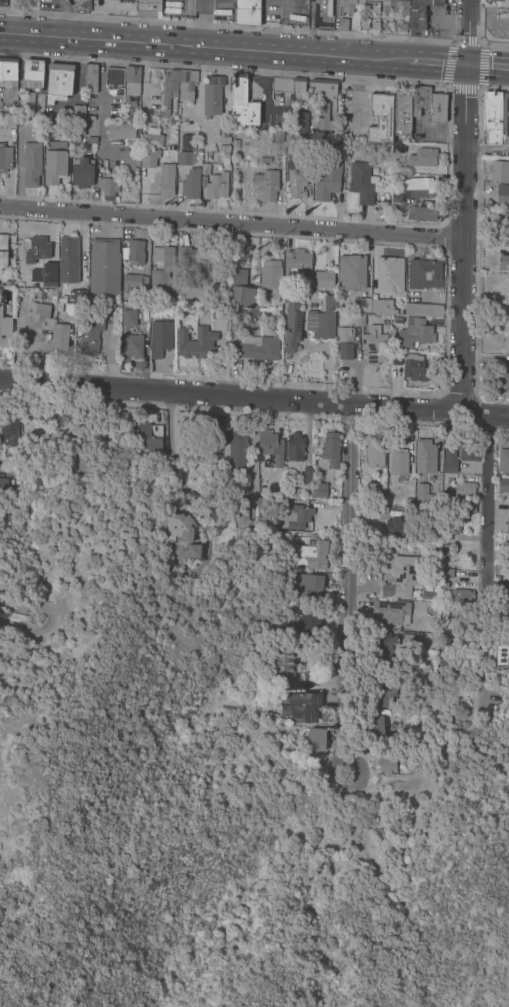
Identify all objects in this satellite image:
building: (497, 0)
building: (384, 3)
building: (148, 5)
building: (345, 6)
building: (247, 13)
building: (419, 13)
road: (446, 17)
road: (476, 20)
road: (495, 21)
parking lot: (439, 22)
parking lot: (495, 22)
building: (343, 25)
road: (468, 40)
road: (200, 45)
road: (78, 52)
road: (432, 62)
road: (447, 63)
traffic signals: (465, 64)
road: (486, 66)
road: (482, 68)
building: (8, 70)
building: (32, 74)
road: (359, 74)
building: (90, 78)
building: (114, 80)
building: (58, 82)
building: (186, 85)
building: (281, 85)
building: (298, 85)
building: (131, 86)
building: (169, 86)
building: (322, 88)
road: (461, 89)
road: (264, 90)
road: (74, 93)
building: (212, 96)
building: (28, 102)
road: (100, 102)
building: (242, 103)
parking lot: (269, 104)
building: (429, 104)
road: (357, 113)
building: (401, 114)
parking lot: (351, 115)
building: (491, 117)
building: (323, 118)
building: (379, 119)
parking lot: (506, 119)
building: (77, 120)
building: (10, 121)
building: (172, 122)
building: (301, 122)
building: (122, 131)
parking lot: (427, 131)
building: (278, 137)
road: (425, 137)
building: (151, 139)
road: (453, 139)
building: (188, 143)
building: (224, 143)
building: (235, 144)
building: (337, 148)
road: (486, 150)
building: (186, 158)
building: (423, 158)
building: (4, 159)
building: (148, 159)
building: (209, 159)
building: (31, 164)
building: (54, 167)
building: (294, 167)
building: (205, 170)
building: (81, 172)
building: (498, 172)
building: (165, 180)
building: (327, 181)
building: (362, 183)
building: (191, 184)
building: (386, 184)
building: (266, 185)
building: (217, 186)
building: (108, 189)
building: (417, 189)
building: (502, 195)
building: (396, 198)
road: (463, 205)
building: (421, 214)
road: (232, 224)
building: (503, 225)
building: (3, 250)
building: (135, 253)
building: (200, 259)
building: (42, 260)
building: (68, 260)
building: (503, 260)
building: (296, 262)
building: (104, 266)
building: (508, 266)
building: (160, 269)
building: (390, 272)
building: (351, 273)
building: (423, 274)
building: (272, 278)
building: (323, 280)
building: (132, 282)
building: (8, 283)
building: (17, 285)
building: (50, 292)
building: (242, 296)
building: (79, 297)
building: (363, 305)
building: (382, 307)
building: (423, 310)
building: (219, 313)
building: (128, 317)
building: (357, 319)
building: (507, 319)
building: (232, 320)
building: (322, 320)
building: (292, 322)
building: (48, 326)
building: (4, 327)
building: (232, 328)
building: (344, 334)
building: (414, 334)
building: (90, 335)
building: (160, 338)
building: (195, 343)
building: (374, 345)
building: (133, 346)
building: (258, 348)
building: (345, 352)
building: (413, 368)
building: (502, 380)
road: (254, 396)
building: (44, 415)
building: (9, 429)
building: (149, 436)
building: (269, 447)
building: (294, 447)
building: (234, 448)
building: (330, 449)
building: (374, 451)
building: (424, 453)
building: (469, 453)
building: (503, 461)
building: (398, 462)
building: (448, 463)
building: (307, 477)
building: (3, 483)
building: (503, 486)
building: (465, 489)
building: (320, 491)
road: (491, 492)
building: (422, 496)
building: (446, 496)
building: (261, 504)
building: (508, 505)
building: (470, 507)
building: (243, 513)
building: (293, 517)
building: (456, 525)
building: (507, 525)
building: (179, 527)
building: (397, 527)
building: (505, 544)
building: (192, 551)
building: (446, 551)
building: (311, 555)
building: (445, 573)
building: (402, 574)
building: (504, 582)
building: (443, 585)
building: (307, 589)
building: (435, 589)
road: (347, 592)
building: (429, 596)
building: (461, 598)
road: (19, 600)
building: (389, 613)
building: (308, 625)
road: (38, 630)
building: (407, 640)
building: (388, 648)
building: (444, 651)
building: (501, 659)
building: (282, 664)
building: (310, 681)
building: (383, 695)
building: (299, 706)
building: (374, 727)
building: (315, 740)
building: (286, 745)
building: (386, 761)

